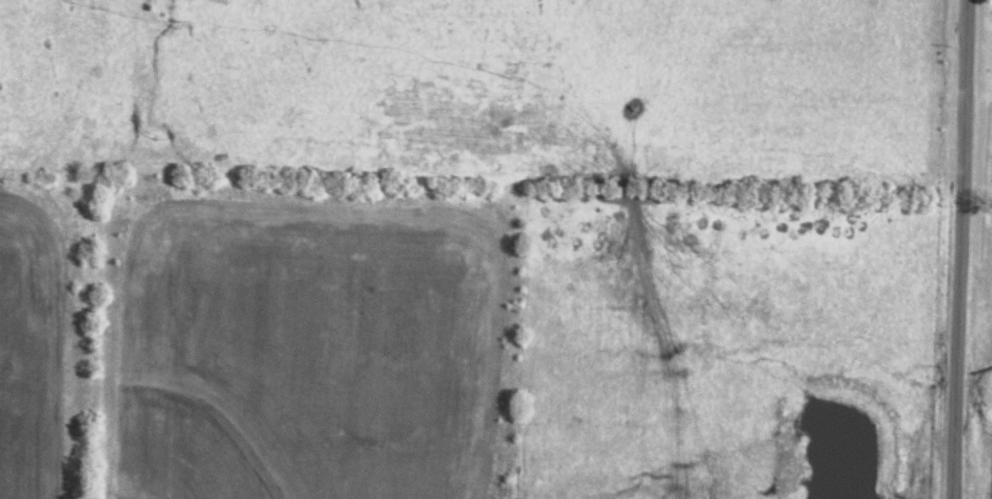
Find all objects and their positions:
road: (964, 249)

